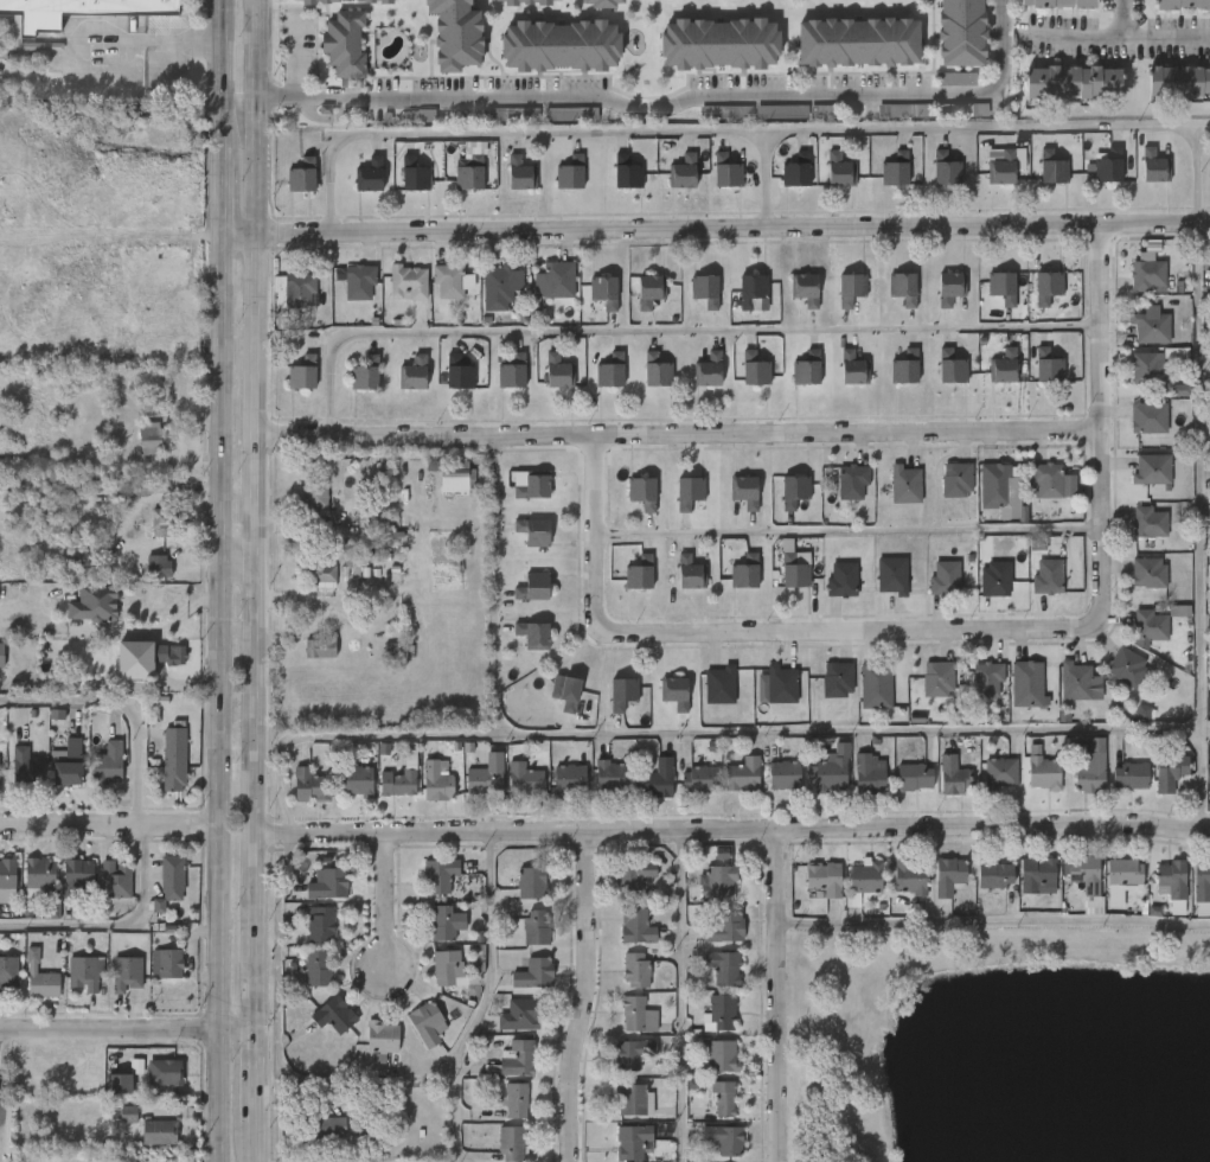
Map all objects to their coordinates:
building: (365, 0)
building: (385, 0)
building: (308, 1)
building: (327, 1)
building: (527, 1)
building: (603, 2)
building: (1061, 4)
building: (1180, 4)
building: (77, 11)
building: (455, 33)
building: (962, 33)
road: (1070, 33)
road: (1147, 36)
building: (859, 41)
building: (342, 44)
building: (721, 44)
building: (561, 45)
road: (290, 60)
road: (126, 64)
building: (955, 79)
building: (1179, 82)
building: (1074, 83)
road: (271, 97)
road: (722, 97)
road: (327, 100)
building: (903, 110)
building: (961, 110)
building: (822, 111)
building: (725, 113)
building: (781, 113)
building: (571, 115)
road: (713, 133)
building: (1108, 165)
building: (1153, 165)
building: (1052, 166)
building: (1001, 167)
building: (895, 168)
building: (946, 168)
road: (1193, 168)
building: (725, 170)
building: (796, 170)
building: (838, 170)
building: (683, 171)
building: (517, 172)
building: (570, 172)
building: (626, 172)
building: (412, 173)
building: (469, 173)
building: (299, 174)
building: (369, 174)
road: (761, 183)
road: (715, 232)
building: (1150, 276)
building: (557, 279)
building: (446, 280)
building: (357, 281)
building: (406, 281)
building: (1003, 286)
building: (1046, 286)
building: (495, 287)
building: (903, 287)
building: (949, 287)
building: (37, 288)
building: (804, 288)
building: (648, 289)
building: (704, 289)
building: (750, 289)
building: (850, 289)
building: (296, 290)
building: (603, 290)
building: (154, 320)
building: (1153, 328)
road: (671, 333)
building: (1157, 364)
building: (1004, 365)
building: (1048, 365)
building: (905, 366)
building: (950, 366)
building: (852, 368)
building: (754, 369)
building: (807, 369)
building: (609, 370)
building: (655, 370)
building: (708, 370)
building: (557, 371)
building: (301, 372)
building: (456, 372)
building: (512, 372)
building: (364, 373)
building: (412, 373)
building: (1180, 390)
building: (1148, 417)
building: (152, 436)
road: (677, 436)
building: (1152, 470)
building: (452, 475)
building: (956, 479)
building: (1054, 481)
building: (852, 483)
building: (904, 484)
building: (534, 486)
building: (747, 491)
building: (795, 491)
building: (998, 491)
building: (641, 492)
building: (687, 492)
building: (316, 493)
building: (158, 519)
building: (370, 521)
building: (1148, 522)
building: (534, 531)
road: (849, 532)
building: (1037, 544)
building: (77, 550)
road: (235, 560)
building: (155, 564)
building: (744, 572)
building: (793, 572)
building: (639, 573)
building: (690, 573)
building: (1150, 573)
building: (316, 575)
building: (891, 575)
building: (945, 577)
building: (1048, 577)
building: (841, 580)
building: (995, 580)
road: (217, 581)
road: (252, 581)
building: (536, 587)
building: (92, 604)
building: (1179, 611)
building: (1152, 625)
road: (955, 630)
road: (148, 632)
building: (532, 636)
building: (319, 647)
building: (0, 651)
building: (168, 655)
building: (135, 660)
building: (1129, 668)
building: (937, 678)
building: (837, 679)
building: (986, 679)
building: (1075, 682)
building: (1026, 683)
building: (721, 684)
building: (782, 684)
building: (875, 685)
building: (677, 691)
building: (564, 692)
building: (623, 692)
road: (122, 704)
building: (1142, 713)
road: (953, 730)
road: (347, 734)
building: (173, 759)
building: (105, 764)
building: (70, 765)
building: (26, 767)
building: (832, 768)
building: (1043, 771)
building: (1170, 771)
building: (524, 773)
building: (870, 773)
building: (999, 773)
building: (612, 774)
building: (744, 774)
building: (1090, 774)
building: (786, 775)
building: (954, 775)
building: (1129, 775)
building: (1208, 775)
building: (402, 777)
building: (915, 777)
building: (700, 778)
road: (1199, 778)
building: (570, 779)
building: (660, 779)
building: (358, 780)
building: (484, 780)
building: (438, 781)
building: (310, 785)
road: (108, 824)
road: (731, 830)
building: (7, 871)
building: (1127, 871)
building: (1038, 873)
building: (1088, 873)
building: (633, 874)
building: (437, 875)
building: (997, 875)
building: (952, 876)
building: (77, 877)
building: (171, 877)
building: (40, 879)
building: (909, 879)
building: (114, 881)
building: (717, 881)
building: (824, 881)
building: (531, 882)
building: (864, 883)
building: (327, 885)
building: (1171, 885)
building: (1202, 888)
road: (383, 899)
building: (1093, 902)
building: (449, 919)
road: (994, 920)
road: (116, 924)
building: (319, 925)
building: (537, 927)
building: (635, 927)
building: (723, 928)
building: (166, 964)
building: (444, 966)
building: (723, 968)
building: (316, 969)
building: (8, 971)
building: (84, 972)
building: (634, 972)
building: (126, 973)
building: (534, 973)
building: (44, 984)
road: (589, 995)
road: (678, 995)
road: (779, 996)
road: (482, 998)
building: (332, 1014)
building: (523, 1014)
building: (719, 1014)
building: (636, 1015)
building: (425, 1024)
road: (126, 1030)
building: (380, 1036)
park: (1005, 1048)
building: (632, 1052)
building: (721, 1056)
building: (519, 1059)
building: (165, 1072)
building: (120, 1084)
building: (633, 1098)
building: (724, 1098)
building: (517, 1100)
building: (123, 1115)
building: (322, 1125)
building: (159, 1131)
building: (723, 1138)
building: (630, 1141)
building: (510, 1143)

